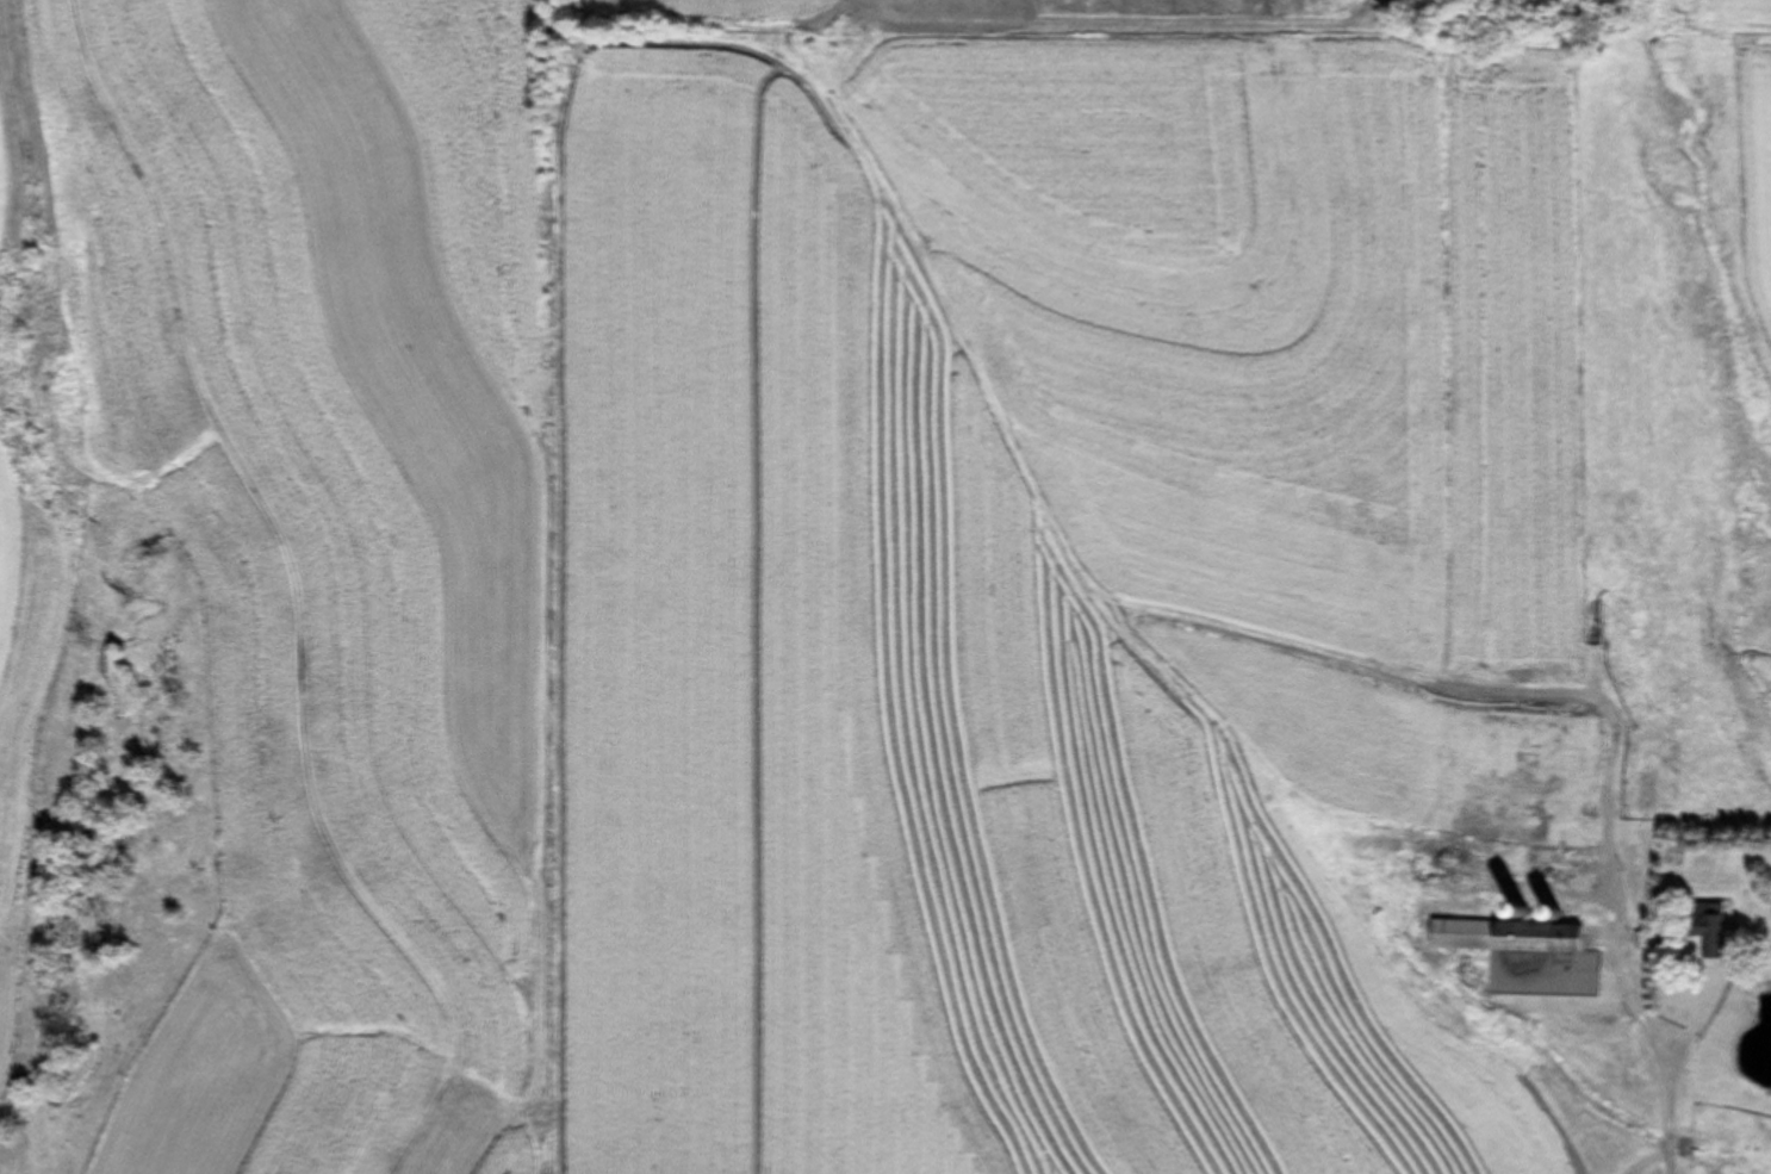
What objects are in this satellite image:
building: (1486, 751)
building: (1561, 857)
building: (1485, 859)
building: (1702, 925)
building: (1517, 937)
road: (1641, 1069)

